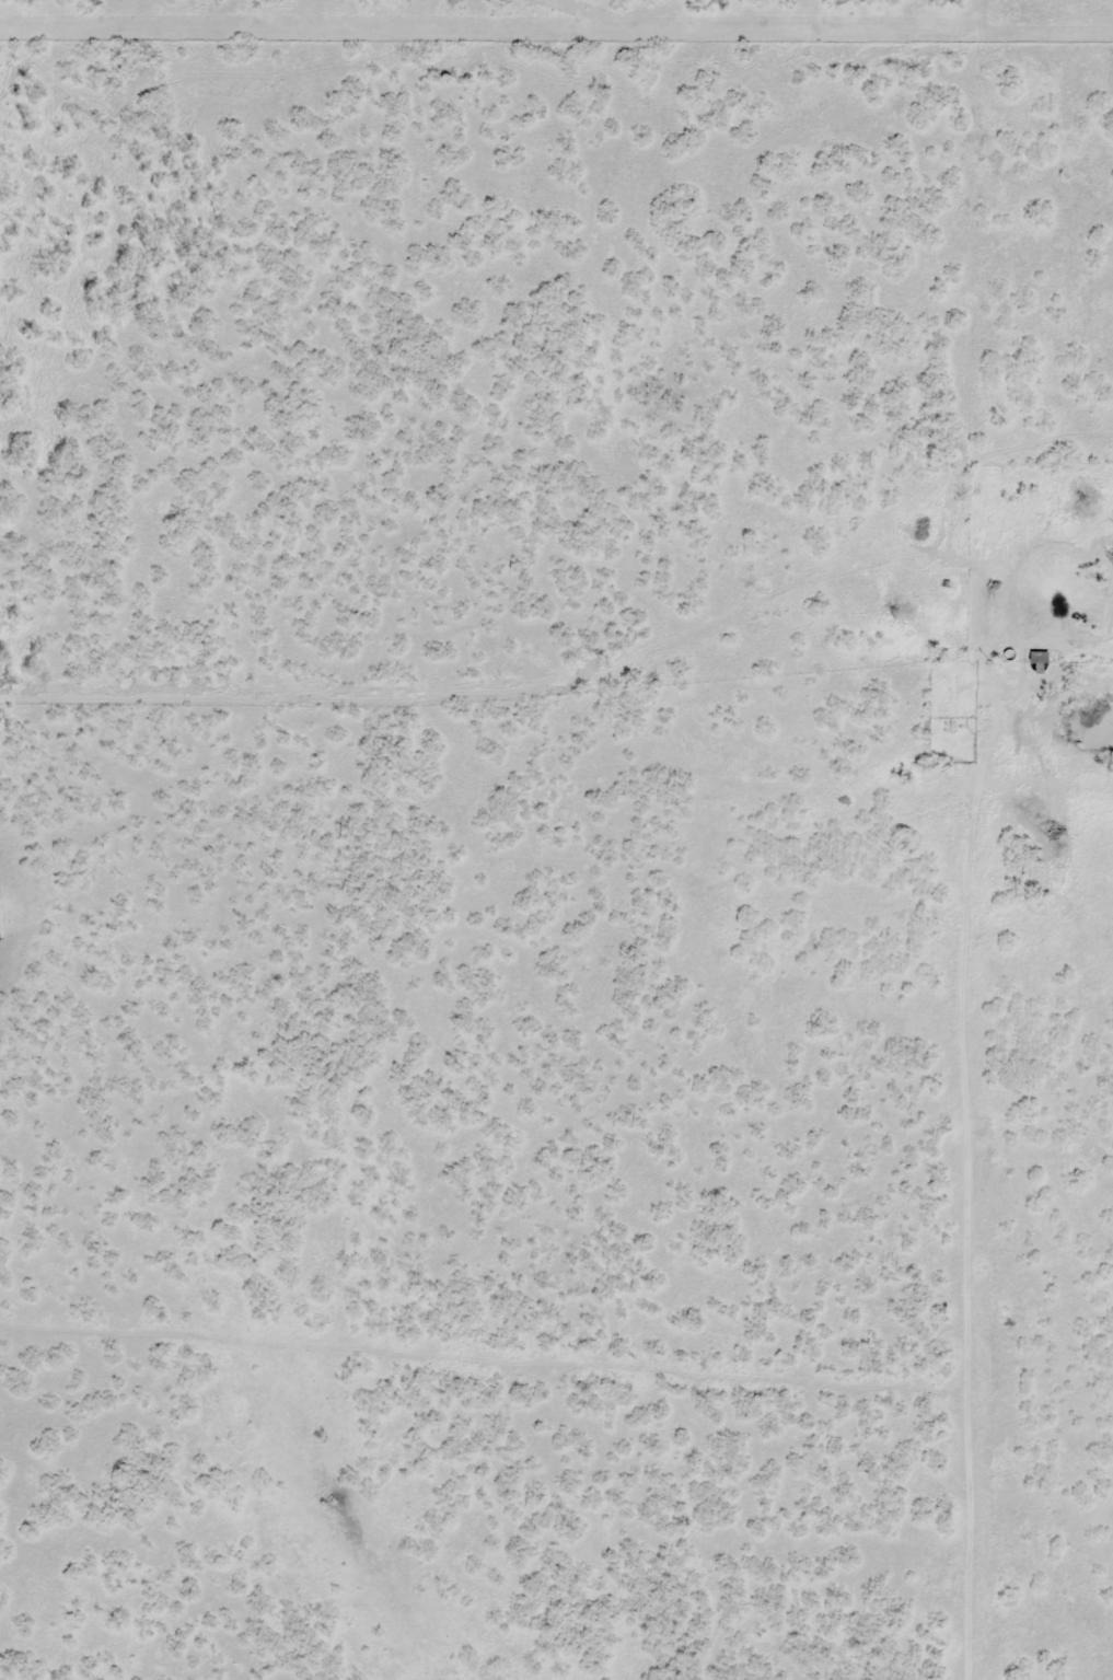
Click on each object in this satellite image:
building: (1037, 664)
road: (935, 1255)

